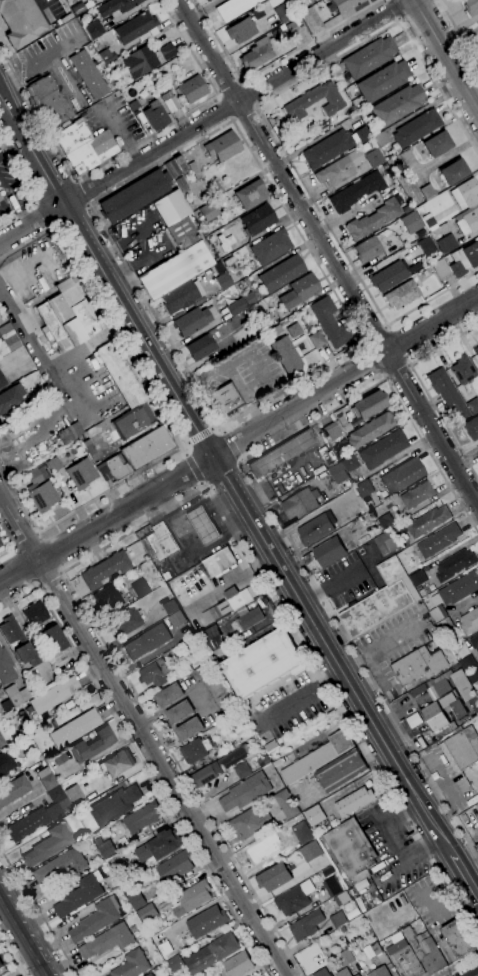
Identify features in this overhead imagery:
building: (205, 0)
building: (207, 0)
building: (298, 3)
building: (343, 5)
building: (116, 6)
building: (470, 7)
building: (233, 8)
road: (43, 9)
building: (321, 10)
road: (417, 10)
road: (393, 11)
building: (284, 12)
building: (258, 13)
building: (311, 20)
building: (21, 22)
building: (135, 27)
building: (286, 27)
building: (93, 29)
building: (241, 30)
road: (459, 32)
parking lot: (48, 49)
building: (168, 51)
road: (446, 52)
building: (257, 54)
road: (40, 56)
building: (106, 56)
building: (368, 58)
building: (140, 61)
road: (271, 66)
building: (88, 75)
building: (153, 75)
road: (70, 76)
building: (383, 81)
road: (229, 87)
building: (192, 89)
road: (254, 92)
road: (3, 96)
building: (170, 101)
building: (314, 101)
building: (49, 102)
building: (397, 105)
road: (225, 109)
building: (150, 113)
road: (247, 116)
road: (205, 122)
road: (270, 126)
building: (416, 128)
building: (363, 134)
building: (72, 135)
building: (380, 138)
road: (12, 141)
building: (437, 143)
building: (223, 146)
road: (133, 148)
building: (327, 148)
building: (91, 152)
building: (406, 157)
building: (374, 158)
building: (175, 166)
building: (338, 169)
building: (195, 170)
building: (453, 171)
building: (181, 183)
road: (55, 190)
road: (29, 191)
road: (87, 191)
building: (356, 192)
building: (427, 192)
building: (465, 194)
building: (250, 195)
building: (134, 196)
building: (0, 198)
road: (13, 204)
building: (171, 207)
building: (0, 209)
building: (209, 211)
road: (40, 219)
building: (258, 220)
building: (373, 220)
building: (468, 220)
building: (409, 222)
building: (430, 222)
building: (182, 233)
building: (447, 243)
building: (427, 245)
building: (271, 247)
building: (368, 249)
road: (328, 250)
building: (471, 254)
building: (427, 262)
building: (235, 264)
building: (458, 268)
building: (441, 269)
building: (175, 270)
building: (282, 273)
building: (222, 275)
building: (388, 276)
road: (110, 279)
building: (299, 291)
building: (402, 294)
building: (179, 297)
building: (249, 298)
building: (239, 304)
building: (1, 310)
building: (67, 316)
building: (267, 320)
building: (1, 321)
building: (192, 321)
building: (329, 322)
building: (275, 331)
road: (376, 334)
building: (8, 339)
building: (315, 339)
road: (363, 340)
road: (399, 346)
building: (201, 347)
building: (476, 350)
building: (286, 354)
road: (375, 360)
road: (52, 364)
building: (463, 369)
road: (397, 371)
building: (121, 374)
road: (346, 377)
building: (2, 381)
road: (423, 388)
building: (448, 393)
building: (11, 398)
building: (226, 398)
building: (473, 405)
building: (362, 409)
road: (165, 416)
building: (133, 421)
building: (472, 427)
building: (75, 429)
building: (370, 430)
building: (332, 431)
building: (66, 434)
road: (201, 436)
road: (232, 444)
building: (383, 449)
building: (90, 450)
building: (283, 453)
building: (136, 454)
building: (350, 463)
building: (53, 464)
road: (193, 468)
building: (81, 473)
building: (338, 473)
road: (223, 474)
building: (403, 475)
building: (364, 488)
building: (41, 489)
building: (417, 495)
building: (301, 504)
road: (160, 512)
road: (272, 512)
road: (212, 517)
building: (387, 520)
road: (107, 521)
building: (428, 522)
building: (203, 525)
gas station: (203, 525)
building: (315, 531)
road: (27, 540)
road: (12, 541)
building: (161, 541)
building: (439, 541)
building: (1, 543)
building: (387, 543)
building: (0, 546)
road: (193, 552)
road: (49, 553)
building: (324, 555)
building: (219, 562)
building: (454, 565)
road: (27, 567)
building: (105, 569)
building: (418, 578)
road: (50, 580)
building: (140, 588)
building: (460, 588)
road: (19, 598)
building: (237, 598)
building: (108, 599)
building: (380, 600)
building: (170, 607)
building: (438, 614)
building: (176, 619)
building: (249, 619)
building: (126, 621)
building: (469, 622)
building: (445, 625)
building: (35, 627)
building: (212, 639)
building: (23, 641)
building: (147, 641)
building: (474, 642)
road: (331, 654)
building: (263, 664)
building: (418, 666)
building: (6, 668)
building: (470, 670)
building: (155, 672)
building: (449, 688)
building: (19, 694)
building: (54, 695)
building: (170, 695)
road: (301, 696)
building: (180, 712)
building: (443, 712)
building: (413, 720)
building: (75, 728)
building: (190, 729)
road: (143, 733)
building: (2, 741)
building: (91, 745)
building: (461, 749)
building: (195, 750)
building: (318, 757)
building: (59, 758)
building: (6, 763)
building: (117, 763)
building: (242, 770)
building: (341, 770)
building: (207, 775)
building: (477, 777)
building: (47, 779)
road: (154, 781)
building: (476, 788)
building: (13, 790)
building: (245, 792)
building: (56, 794)
building: (75, 795)
building: (354, 801)
building: (286, 804)
building: (114, 805)
building: (54, 812)
building: (314, 815)
building: (141, 818)
building: (248, 824)
building: (28, 825)
building: (48, 845)
building: (159, 846)
building: (476, 848)
building: (106, 849)
building: (351, 850)
building: (310, 852)
building: (60, 866)
building: (175, 867)
road: (464, 876)
building: (273, 877)
building: (331, 886)
building: (78, 896)
building: (341, 898)
building: (193, 899)
building: (294, 899)
building: (137, 900)
road: (37, 912)
building: (147, 912)
building: (342, 917)
building: (95, 921)
building: (208, 921)
building: (306, 925)
road: (28, 927)
road: (21, 940)
building: (107, 941)
building: (456, 941)
building: (375, 949)
building: (425, 950)
building: (212, 954)
road: (11, 957)
building: (308, 958)
building: (345, 958)
building: (405, 959)
building: (2, 962)
building: (176, 963)
building: (131, 964)
building: (238, 964)
road: (458, 964)
building: (380, 972)
building: (322, 973)
building: (343, 973)
building: (182, 974)
building: (357, 975)

